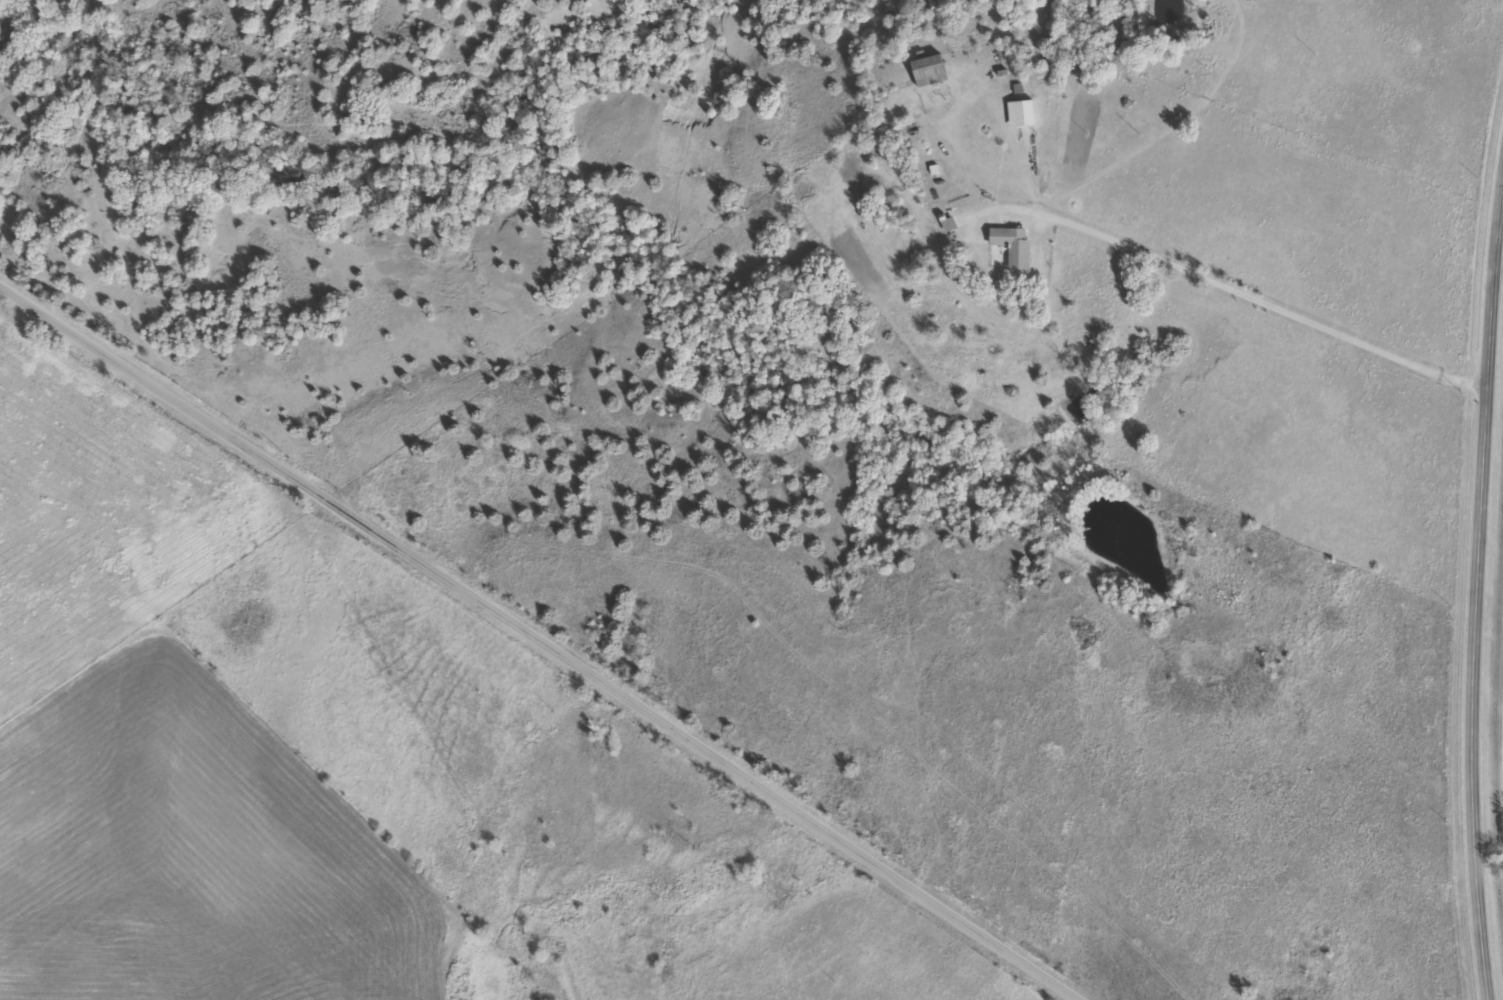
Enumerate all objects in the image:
building: (924, 71)
building: (1009, 246)
road: (1498, 266)
road: (1250, 303)
road: (1478, 594)
road: (539, 644)

